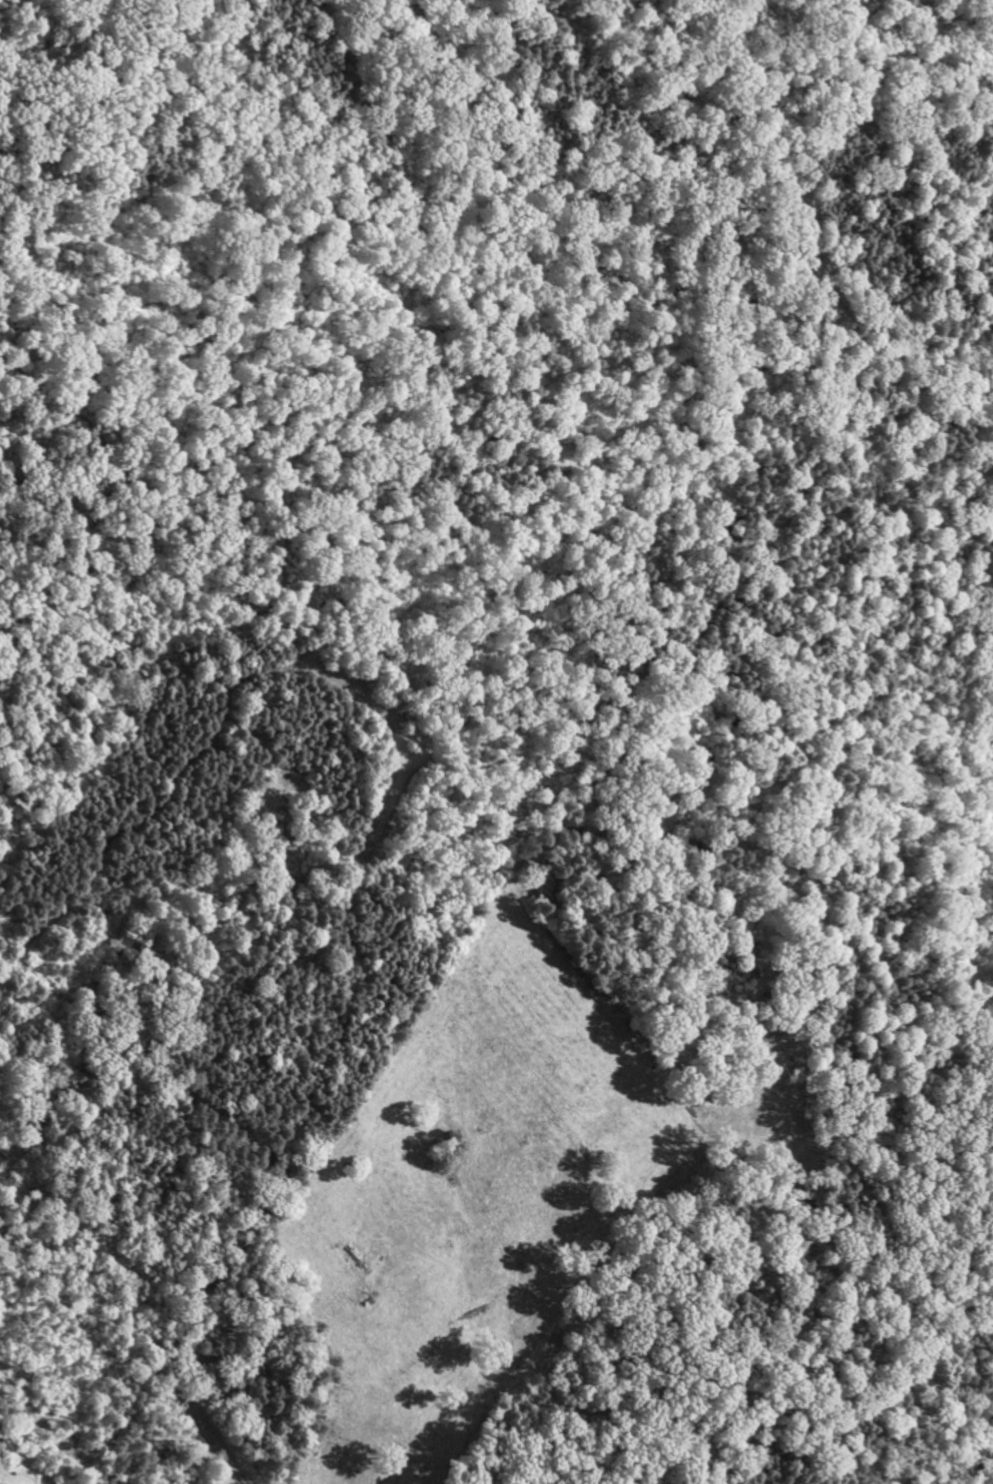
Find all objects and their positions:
building: (2, 1378)

